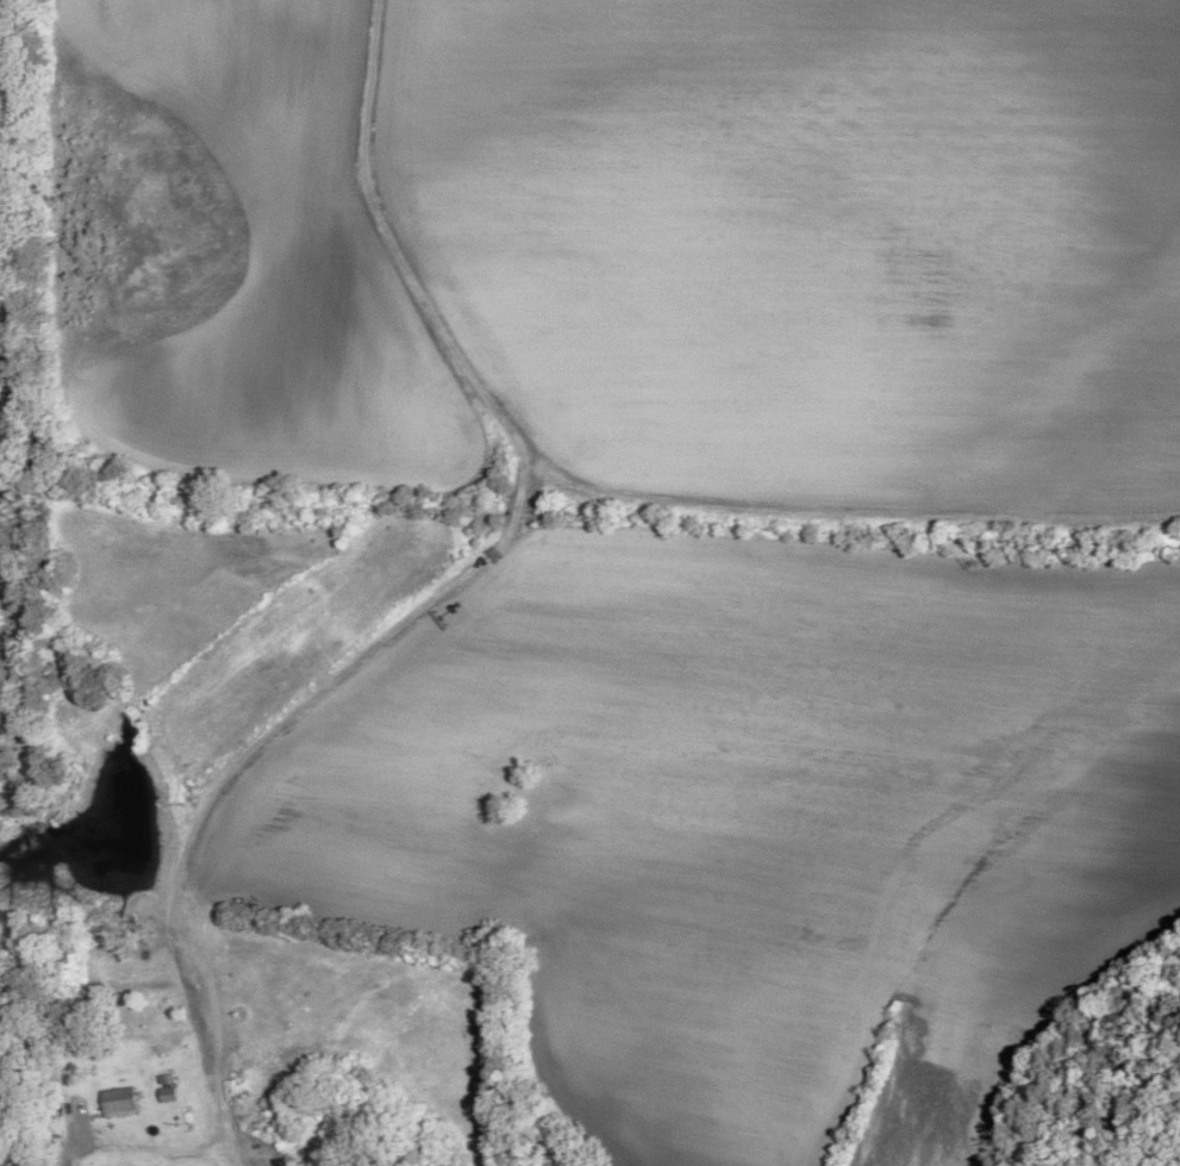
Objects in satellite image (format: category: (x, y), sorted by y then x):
building: (169, 1098)
building: (120, 1102)

